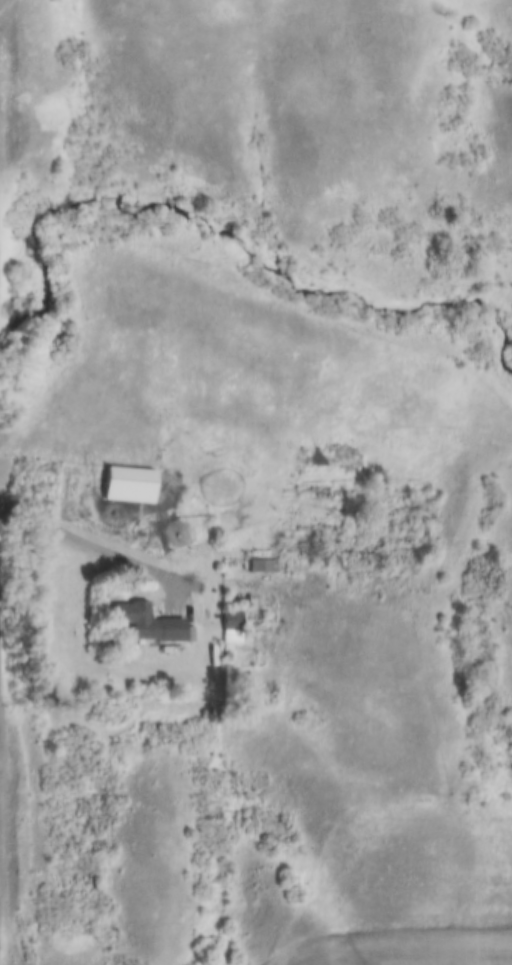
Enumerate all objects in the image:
building: (131, 486)
road: (104, 545)
building: (263, 566)
building: (230, 621)
building: (148, 624)

